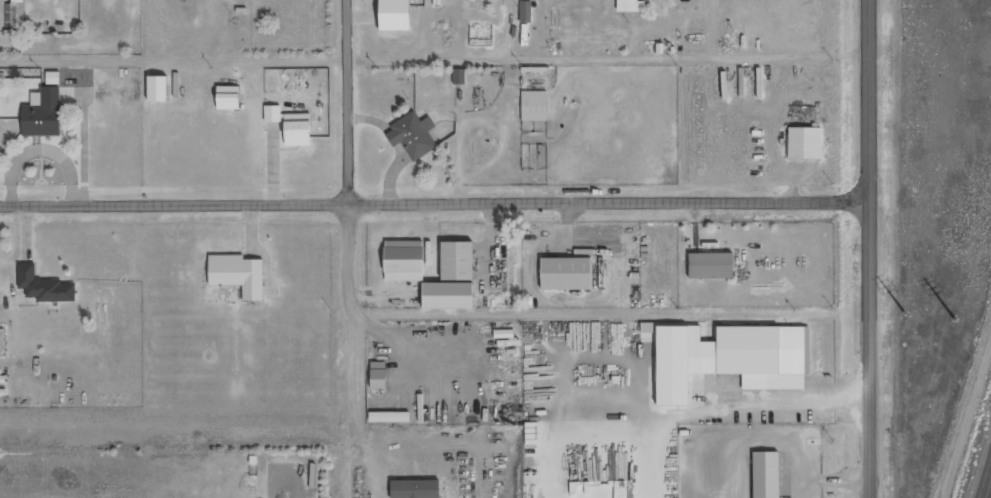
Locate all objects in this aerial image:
building: (48, 0)
building: (631, 6)
building: (527, 13)
building: (395, 15)
building: (15, 16)
building: (459, 77)
building: (158, 89)
building: (229, 98)
road: (351, 103)
building: (534, 106)
building: (43, 116)
building: (291, 125)
building: (413, 137)
building: (805, 145)
road: (434, 206)
road: (869, 249)
building: (404, 263)
building: (457, 263)
building: (712, 266)
building: (567, 274)
building: (239, 275)
building: (44, 286)
building: (448, 297)
power tower: (906, 315)
power tower: (955, 320)
building: (766, 355)
building: (766, 476)
railway: (987, 485)

